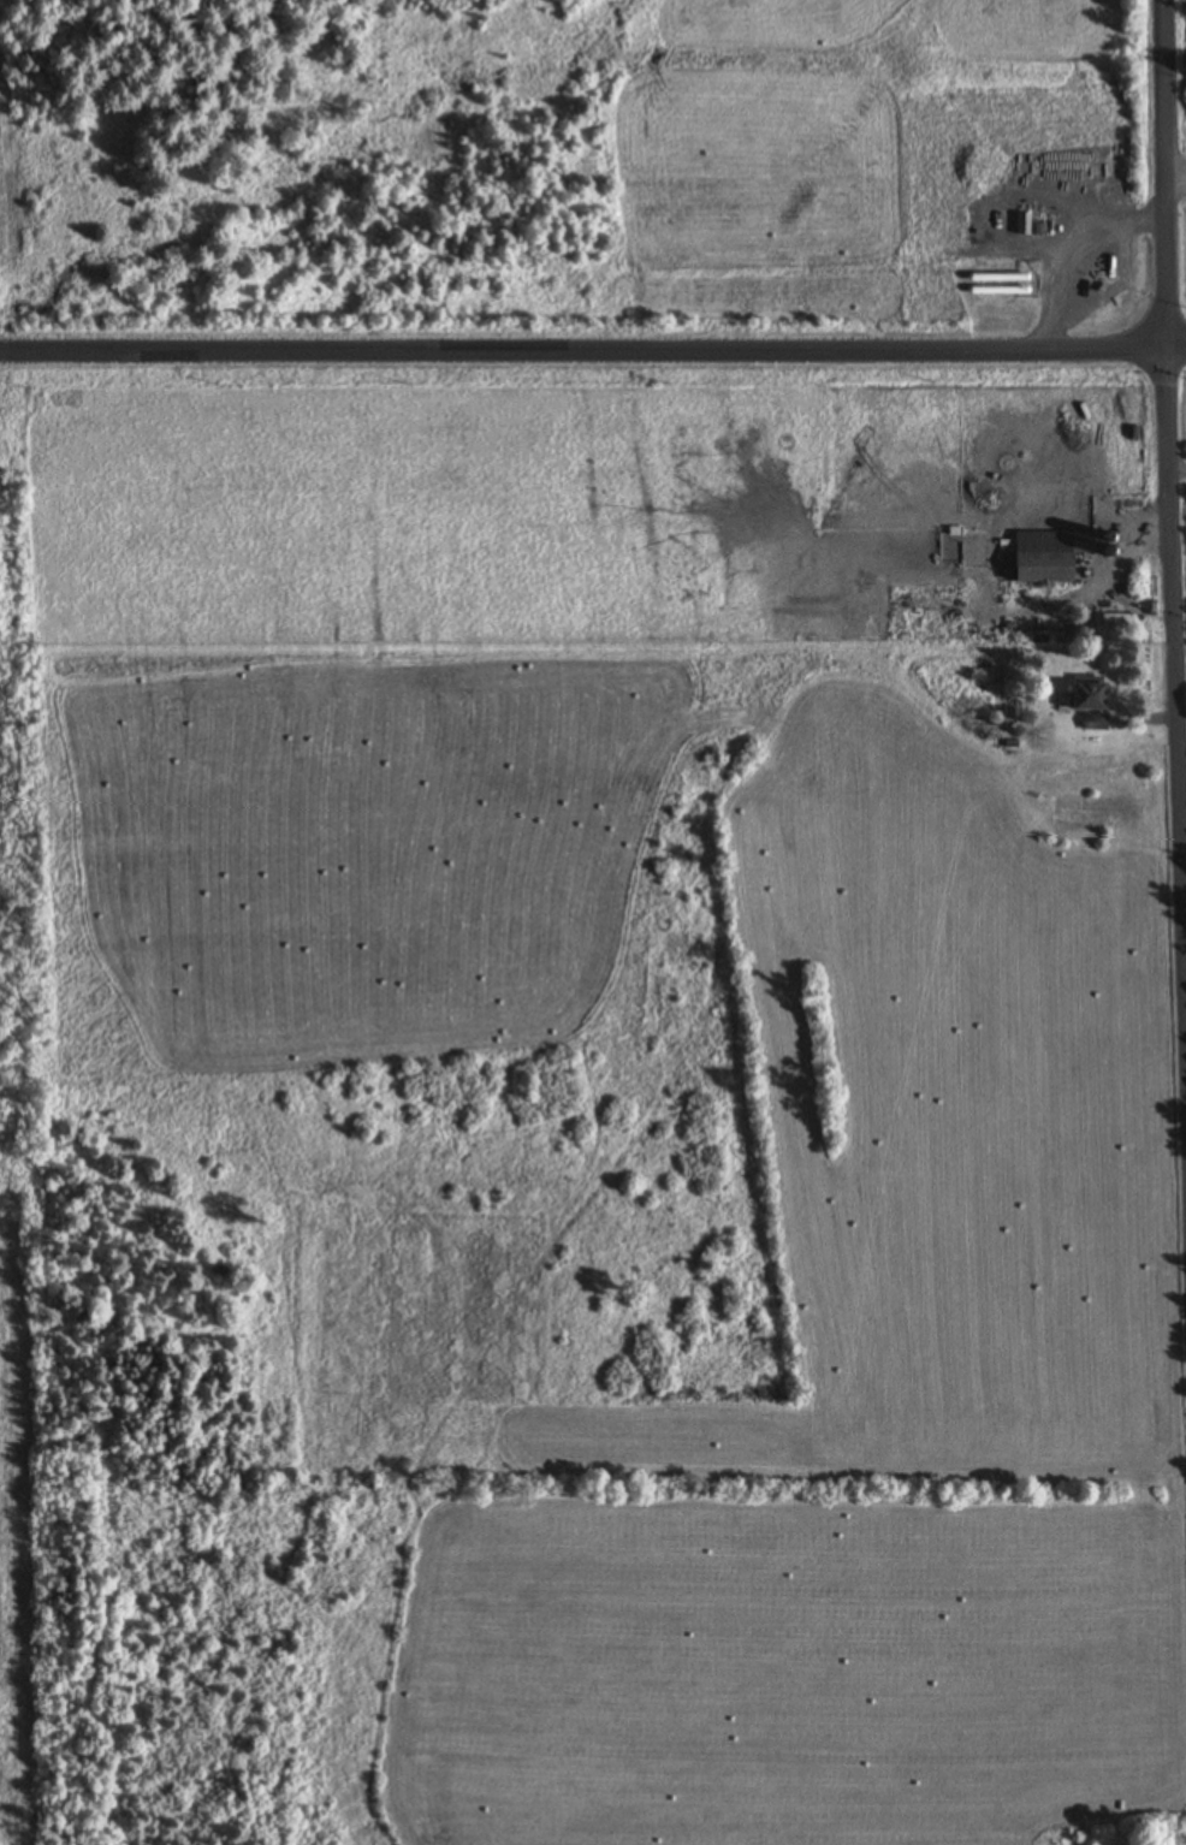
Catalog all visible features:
road: (593, 350)
road: (1169, 533)
building: (1043, 566)
building: (1086, 695)
park: (19, 1236)

